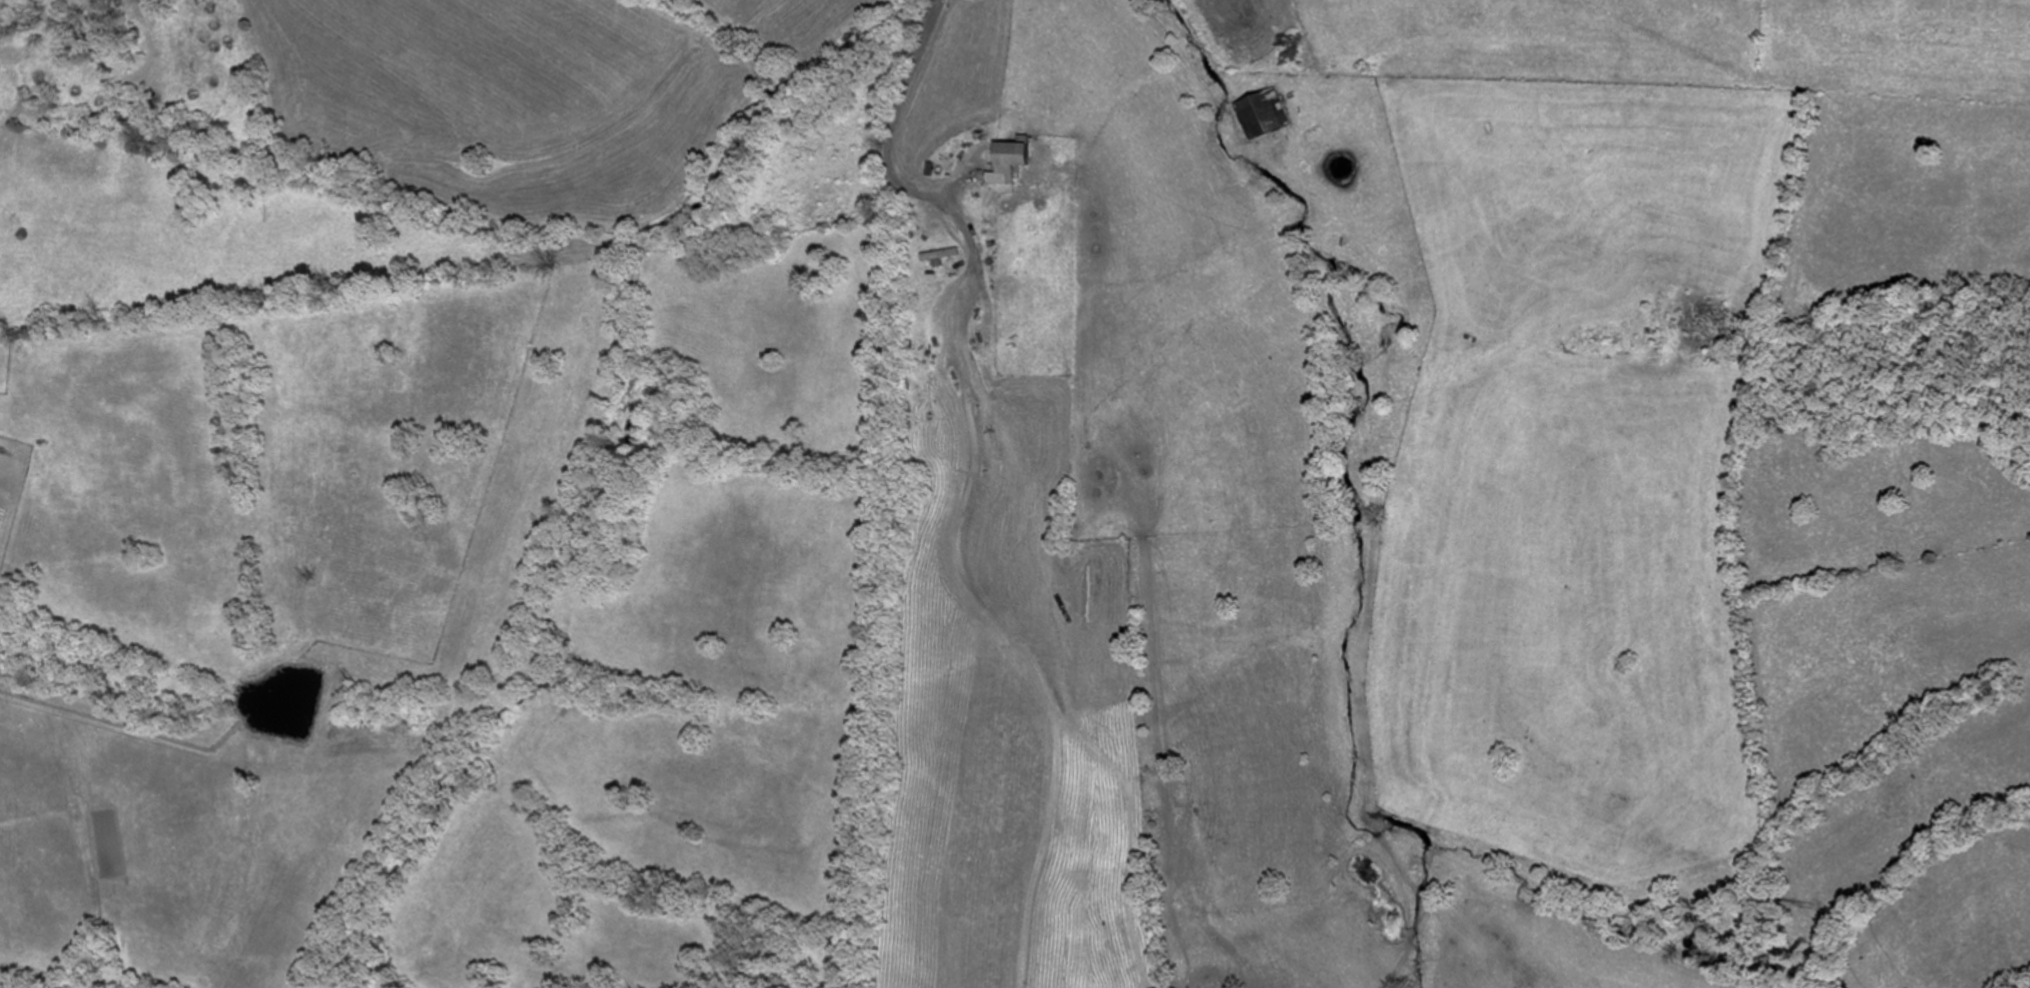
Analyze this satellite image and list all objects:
building: (1261, 114)
road: (896, 119)
building: (1010, 160)

